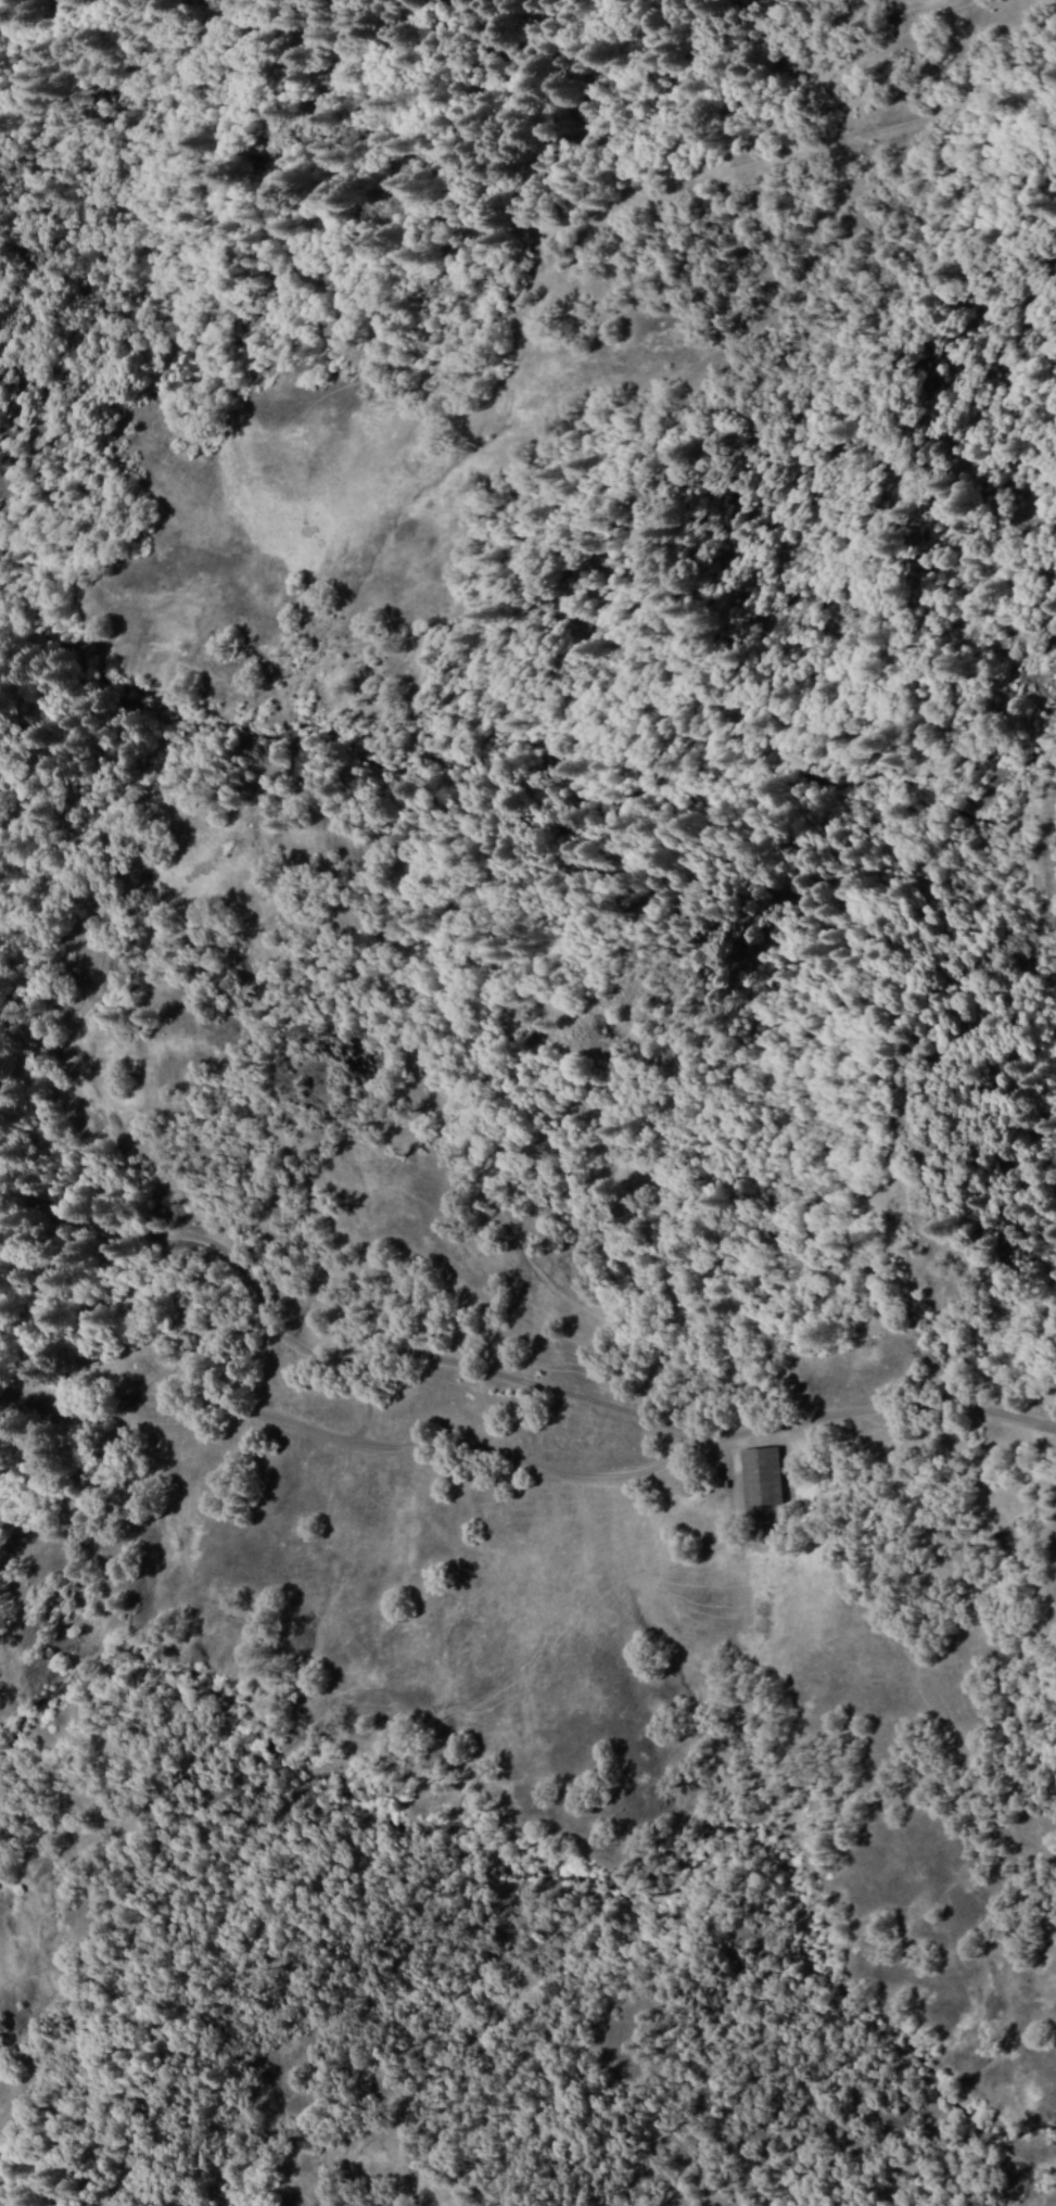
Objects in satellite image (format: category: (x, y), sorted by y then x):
road: (618, 205)
road: (347, 1328)
road: (527, 1460)
building: (761, 1476)

